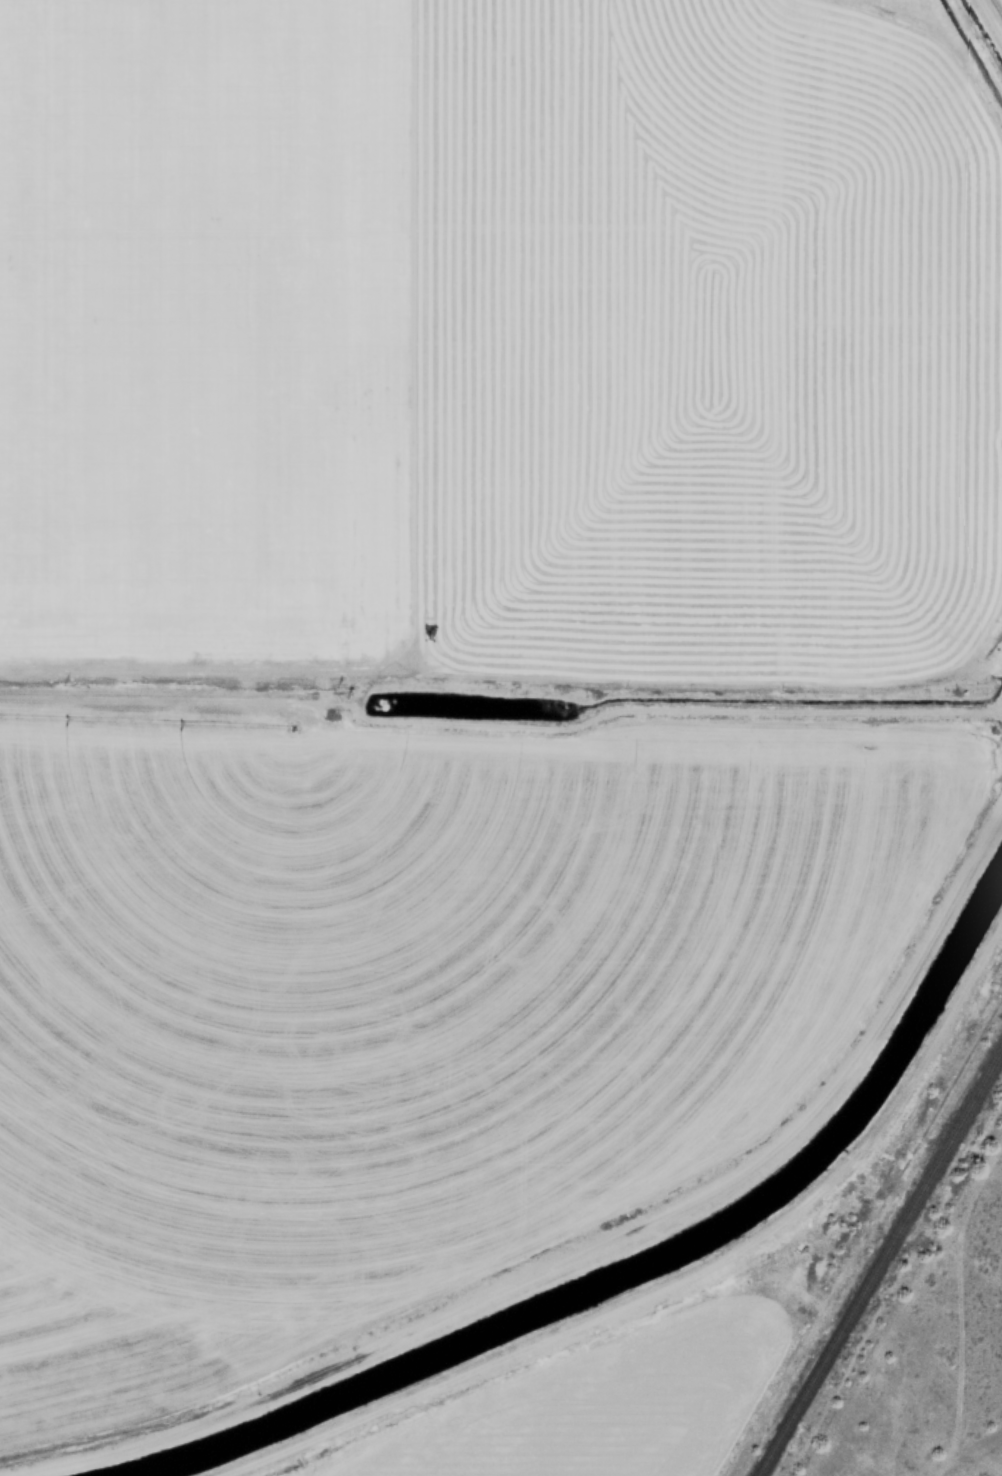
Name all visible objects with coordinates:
railway: (883, 1267)
road: (962, 1307)

